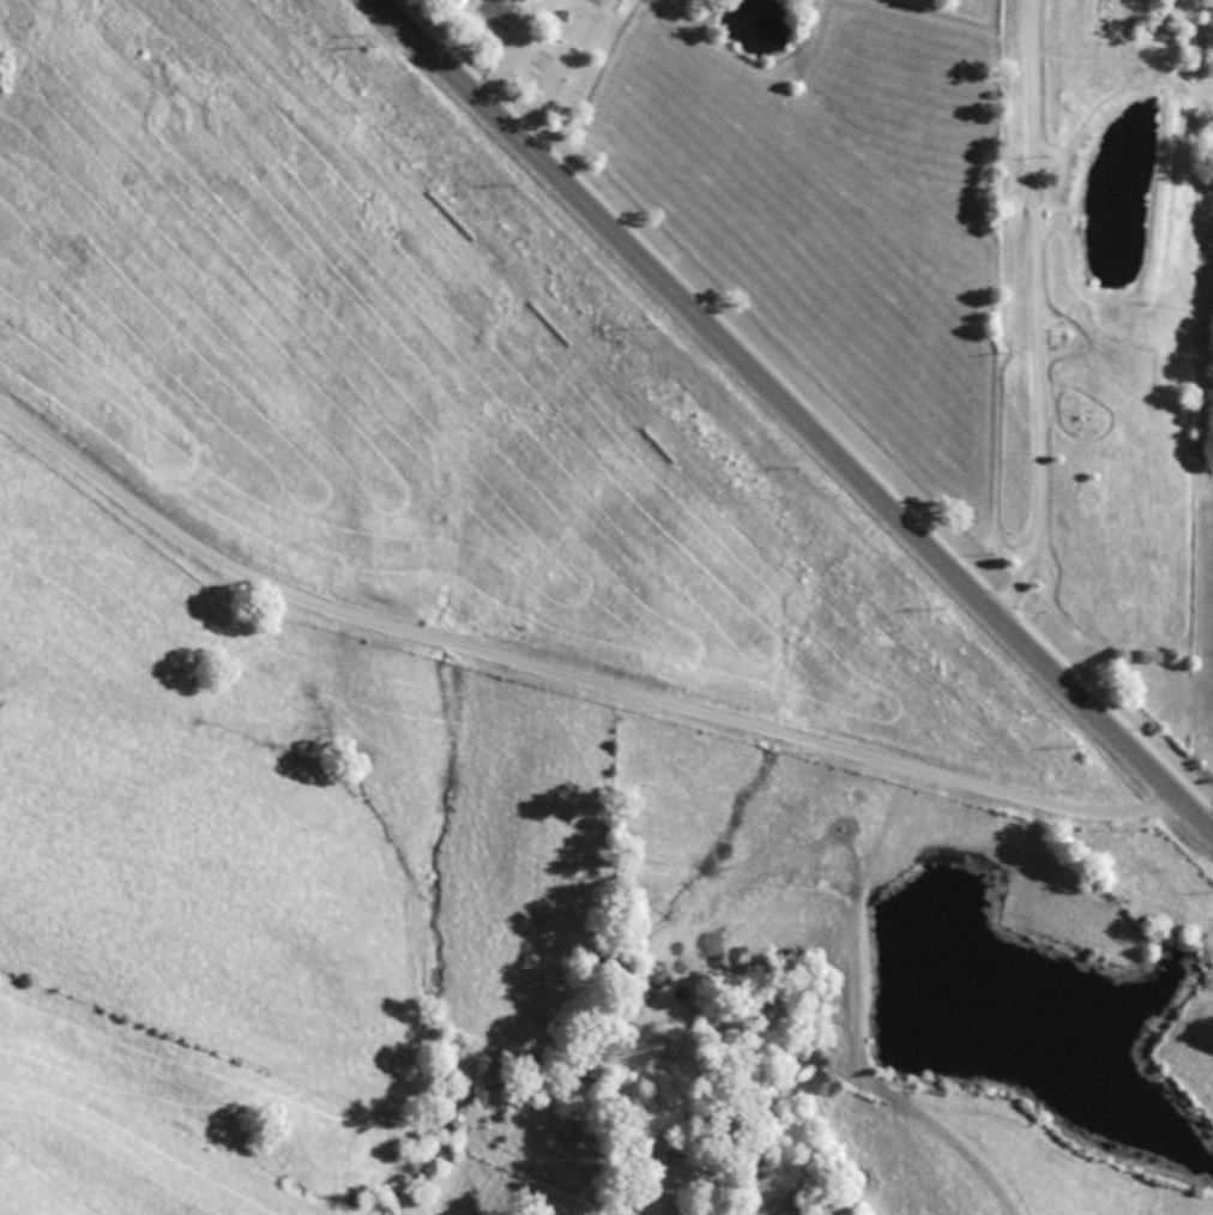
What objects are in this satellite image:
building: (497, 11)
road: (777, 396)
building: (1080, 415)
road: (557, 669)
road: (1191, 811)

